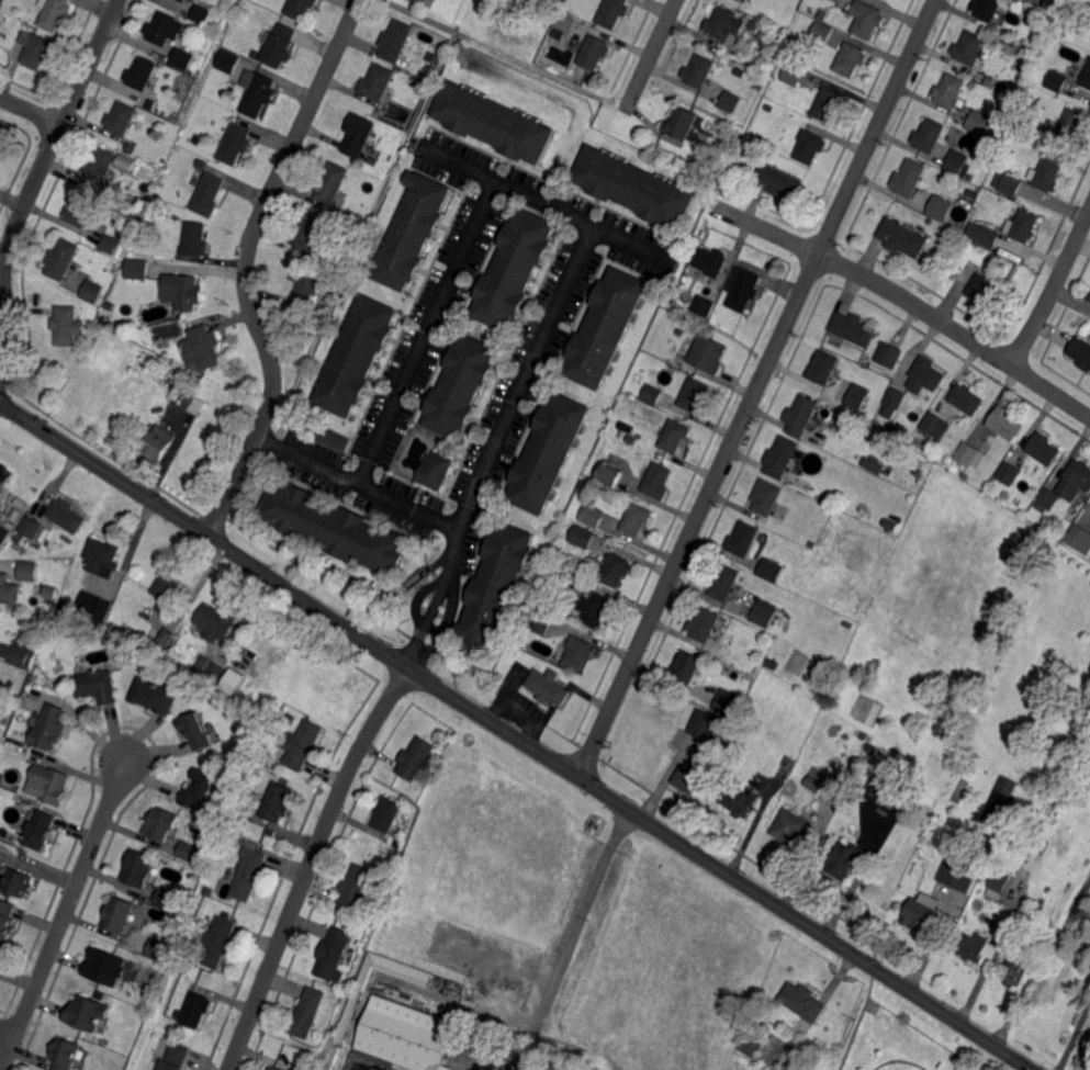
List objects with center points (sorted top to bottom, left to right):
building: (183, 0)
building: (742, 0)
building: (838, 0)
building: (839, 0)
building: (418, 2)
building: (1040, 2)
building: (301, 8)
building: (987, 8)
building: (202, 11)
building: (54, 13)
building: (615, 13)
building: (822, 13)
building: (867, 18)
building: (2, 19)
building: (565, 24)
building: (726, 25)
building: (755, 25)
building: (161, 27)
building: (765, 30)
building: (822, 33)
building: (395, 43)
building: (280, 44)
building: (819, 46)
building: (35, 48)
building: (969, 48)
building: (596, 50)
building: (256, 53)
road: (652, 54)
building: (434, 56)
building: (851, 58)
building: (181, 59)
building: (231, 64)
building: (700, 70)
building: (141, 72)
building: (794, 72)
building: (1086, 76)
building: (989, 79)
building: (1055, 80)
building: (378, 81)
building: (422, 85)
building: (974, 85)
building: (949, 90)
building: (258, 92)
building: (731, 101)
building: (238, 102)
building: (829, 103)
building: (149, 104)
building: (769, 106)
road: (30, 110)
building: (121, 117)
building: (980, 121)
building: (682, 123)
building: (496, 124)
building: (1072, 124)
building: (398, 134)
building: (929, 135)
building: (1034, 135)
building: (212, 137)
building: (360, 137)
building: (235, 144)
building: (811, 145)
building: (1, 148)
building: (130, 149)
building: (125, 158)
road: (456, 161)
building: (956, 162)
building: (100, 164)
building: (203, 164)
building: (712, 174)
building: (965, 174)
building: (1045, 176)
building: (909, 178)
building: (780, 179)
road: (35, 180)
building: (334, 184)
building: (1008, 184)
building: (636, 188)
building: (210, 194)
building: (941, 209)
building: (80, 210)
road: (559, 210)
building: (355, 217)
building: (1024, 225)
building: (415, 232)
building: (313, 234)
building: (985, 234)
building: (196, 238)
building: (899, 238)
building: (142, 240)
building: (110, 244)
road: (632, 244)
building: (61, 258)
building: (711, 259)
road: (246, 266)
building: (138, 268)
building: (516, 270)
building: (102, 282)
building: (303, 285)
building: (742, 288)
building: (986, 288)
road: (1053, 289)
building: (91, 292)
building: (182, 292)
building: (1089, 297)
road: (909, 299)
building: (110, 304)
building: (705, 304)
building: (103, 320)
building: (68, 325)
building: (607, 328)
building: (854, 328)
building: (679, 333)
building: (203, 347)
building: (1081, 351)
building: (888, 353)
building: (707, 354)
building: (358, 357)
building: (823, 367)
building: (929, 372)
building: (462, 387)
road: (757, 387)
building: (176, 393)
building: (652, 393)
building: (694, 394)
building: (857, 395)
building: (897, 396)
building: (968, 397)
building: (195, 403)
building: (804, 417)
building: (1007, 421)
building: (936, 424)
building: (627, 428)
building: (675, 435)
building: (327, 437)
building: (631, 440)
building: (160, 444)
building: (1044, 448)
building: (549, 453)
building: (969, 453)
building: (782, 457)
building: (873, 464)
building: (436, 471)
building: (1010, 472)
building: (611, 473)
building: (965, 475)
building: (5, 476)
building: (1076, 478)
building: (658, 481)
building: (766, 496)
building: (1048, 497)
road: (409, 506)
building: (18, 513)
building: (593, 515)
building: (66, 516)
building: (637, 518)
building: (890, 523)
building: (31, 527)
building: (335, 528)
building: (4, 533)
building: (583, 536)
building: (16, 538)
building: (743, 538)
building: (1079, 539)
building: (102, 554)
building: (617, 568)
building: (772, 568)
building: (27, 571)
building: (559, 575)
building: (723, 581)
building: (497, 587)
building: (9, 589)
building: (49, 595)
building: (167, 595)
building: (65, 605)
building: (92, 607)
building: (596, 607)
building: (16, 612)
building: (765, 612)
building: (60, 619)
building: (537, 620)
building: (216, 622)
building: (705, 623)
building: (165, 637)
building: (19, 652)
building: (578, 652)
building: (190, 661)
building: (686, 666)
building: (754, 669)
building: (214, 671)
building: (231, 682)
building: (95, 685)
building: (549, 686)
building: (153, 694)
building: (8, 696)
building: (728, 701)
building: (3, 721)
building: (705, 723)
building: (49, 727)
building: (198, 731)
building: (864, 735)
road: (515, 736)
building: (302, 743)
building: (416, 758)
building: (788, 761)
building: (817, 779)
building: (686, 780)
building: (49, 781)
building: (198, 788)
building: (883, 789)
building: (741, 800)
building: (277, 801)
building: (903, 801)
building: (1000, 802)
building: (1060, 803)
building: (384, 812)
building: (159, 824)
building: (41, 829)
building: (791, 829)
building: (397, 843)
building: (184, 852)
building: (845, 859)
building: (1086, 863)
road: (310, 865)
building: (136, 867)
building: (956, 874)
building: (248, 875)
building: (18, 881)
building: (998, 882)
building: (356, 887)
building: (1065, 887)
building: (207, 891)
building: (162, 897)
building: (921, 913)
building: (119, 914)
road: (61, 915)
building: (7, 917)
road: (571, 937)
building: (217, 942)
building: (977, 947)
building: (156, 949)
building: (332, 953)
building: (0, 959)
building: (0, 961)
building: (104, 966)
building: (1016, 969)
building: (802, 1001)
building: (195, 1009)
building: (86, 1012)
building: (177, 1013)
building: (306, 1013)
building: (348, 1017)
road: (857, 1018)
road: (5, 1034)
road: (922, 1034)
road: (1075, 1035)
building: (402, 1039)
building: (750, 1045)
building: (177, 1051)
building: (64, 1054)
building: (333, 1057)
road: (898, 1059)
building: (168, 1065)
building: (274, 1068)

